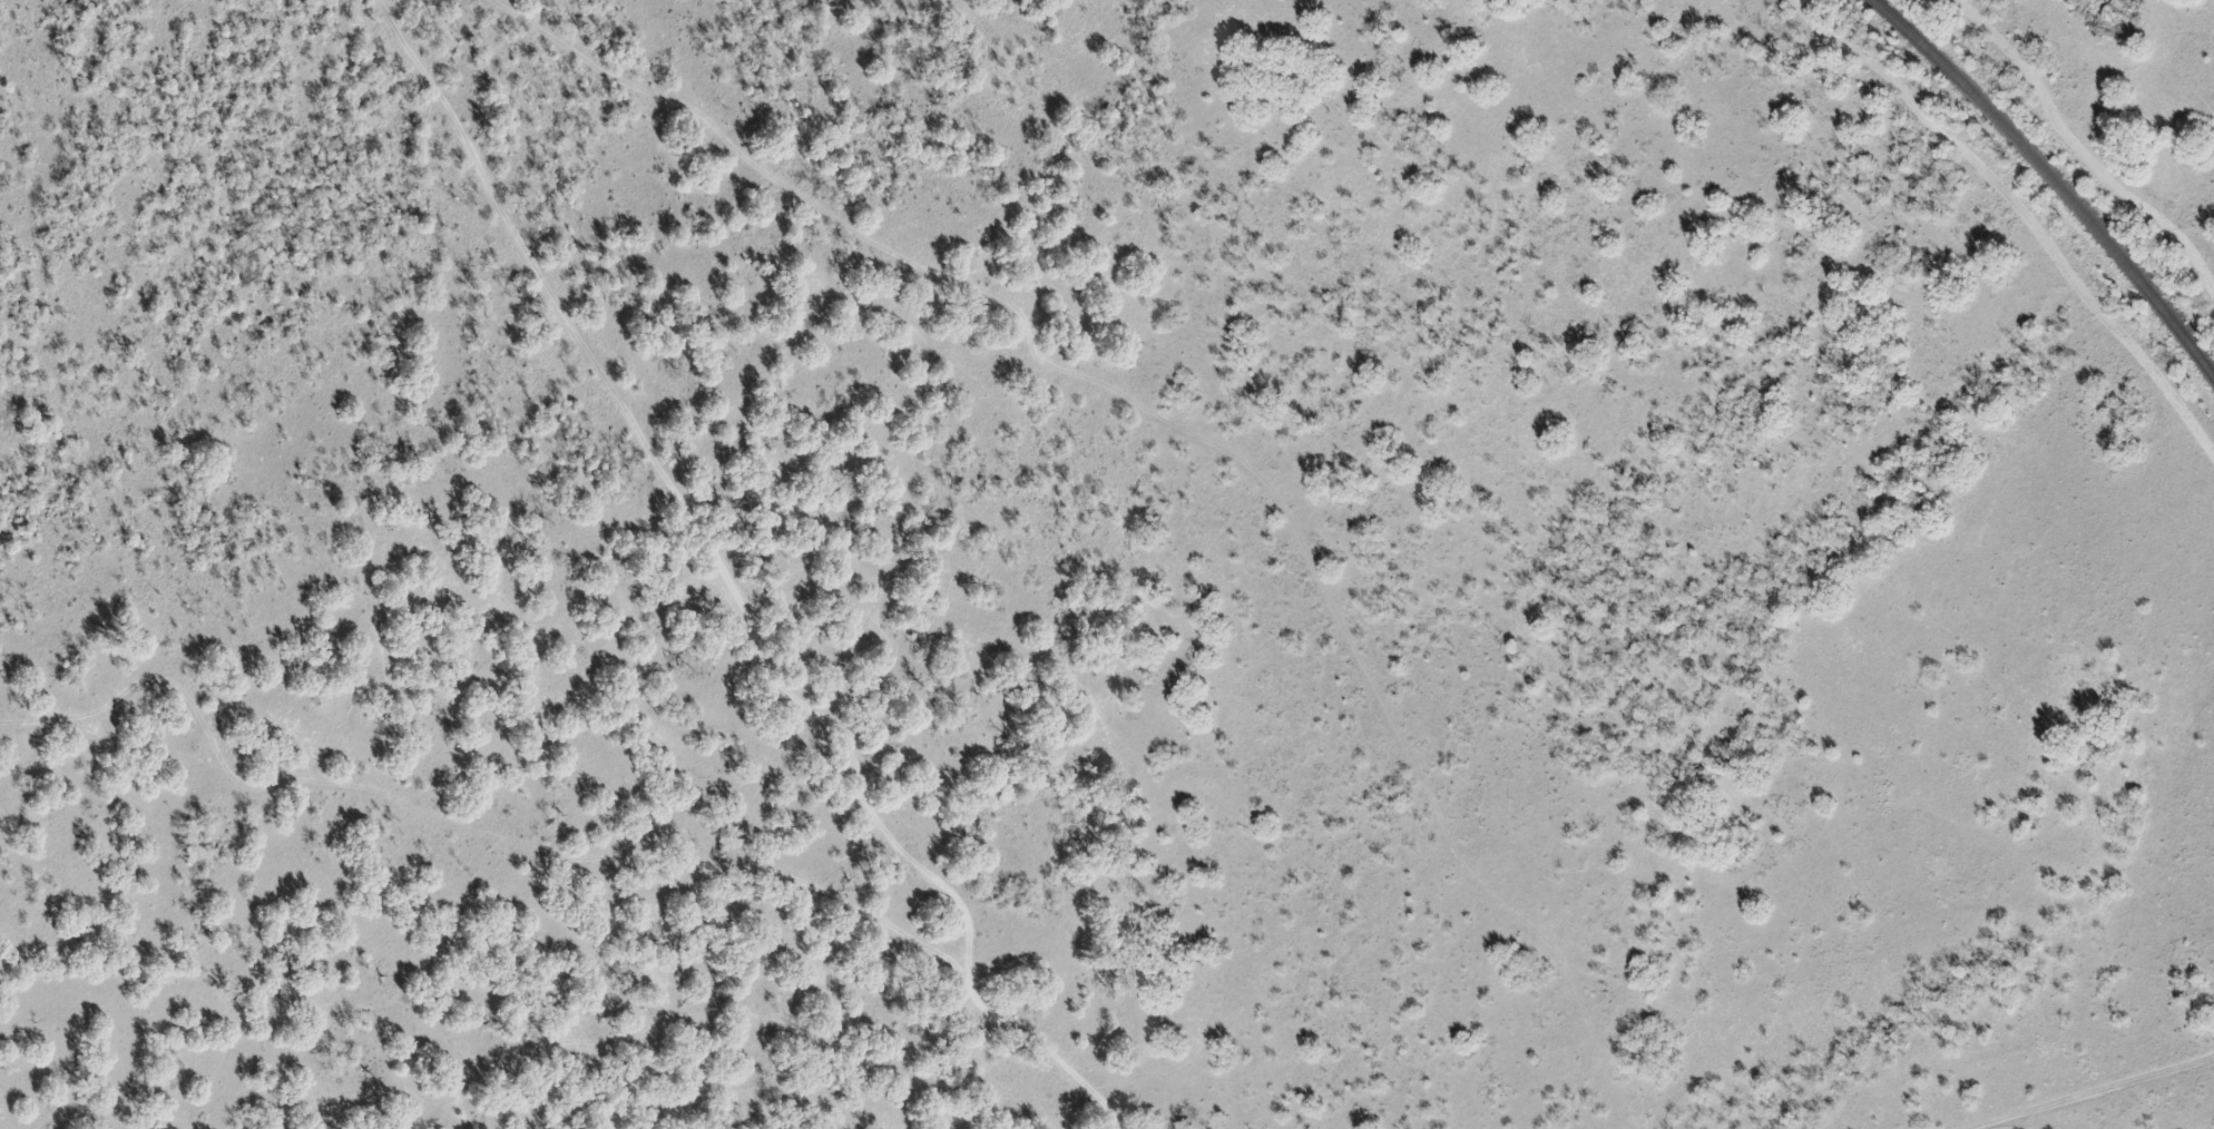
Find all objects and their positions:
railway: (2050, 183)

